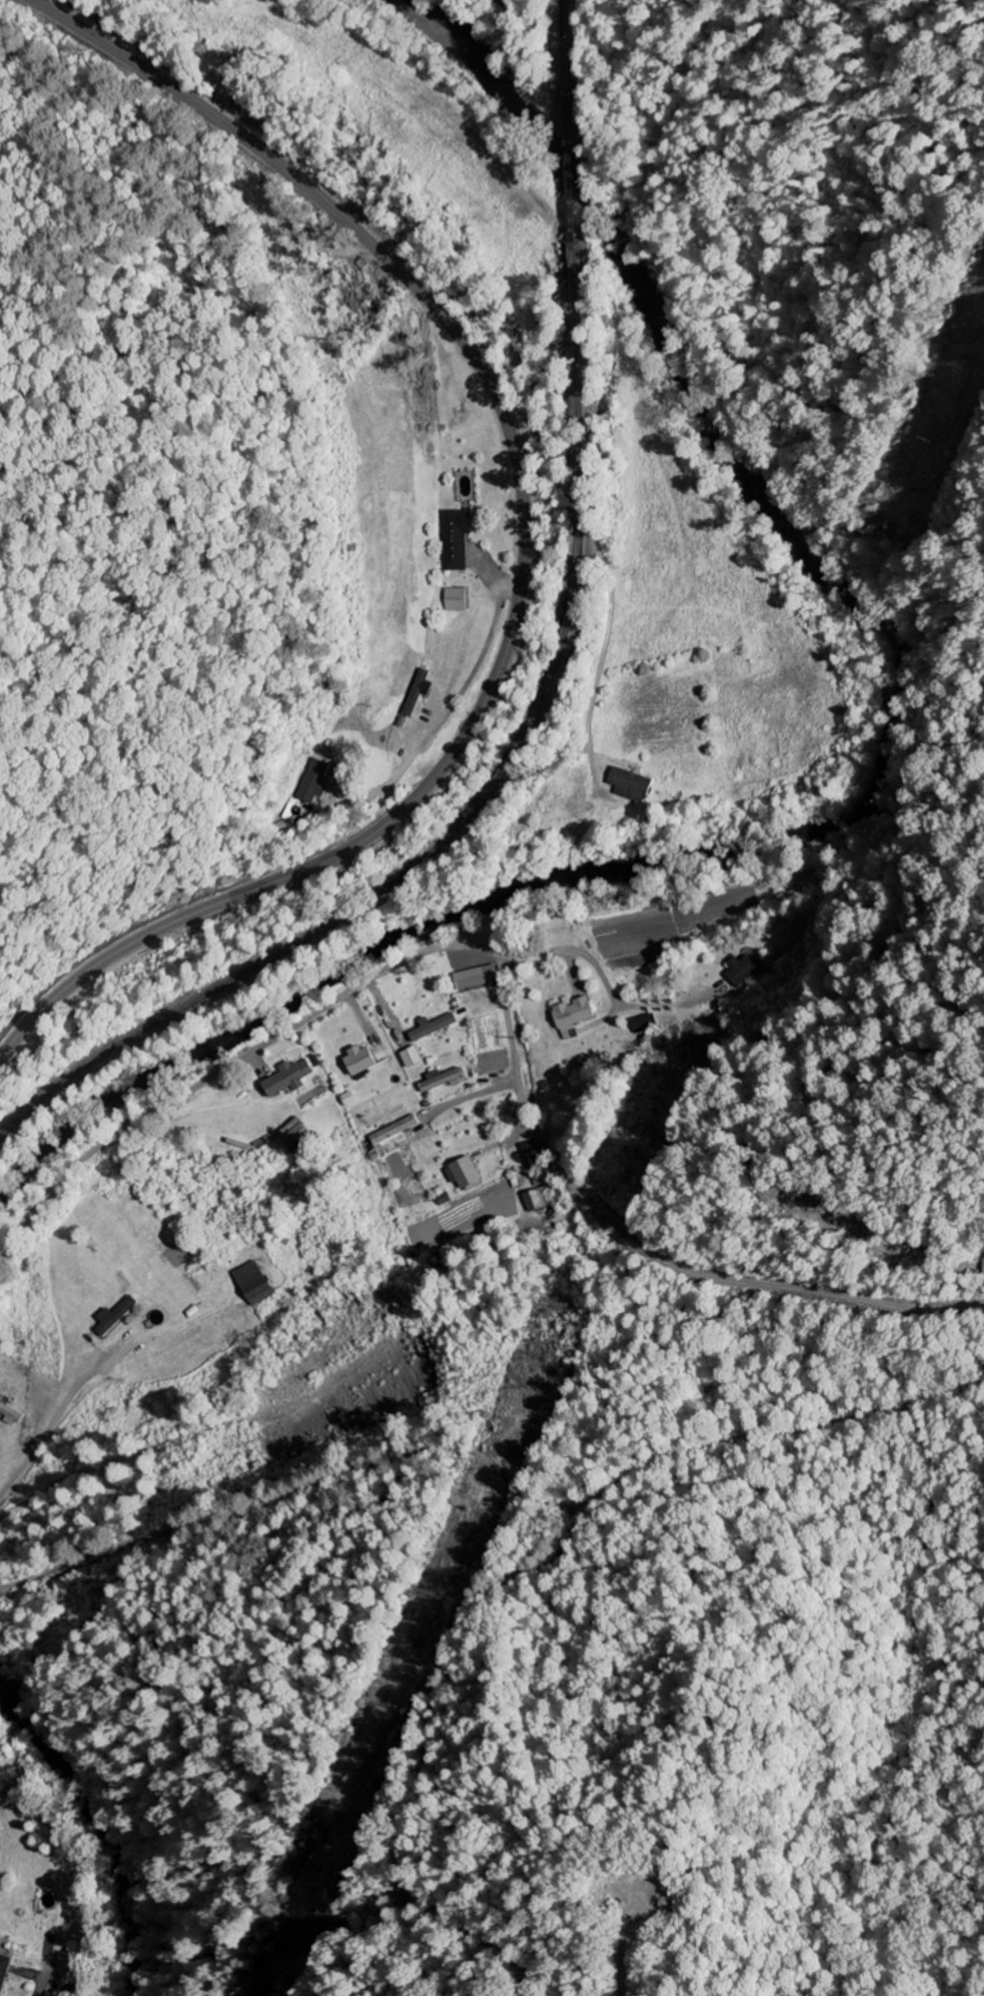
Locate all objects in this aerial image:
building: (456, 540)
road: (520, 547)
building: (456, 601)
building: (420, 693)
railway: (544, 709)
building: (316, 783)
building: (632, 786)
building: (743, 971)
building: (478, 978)
building: (575, 1017)
building: (643, 1024)
building: (435, 1027)
road: (262, 1049)
building: (413, 1058)
building: (363, 1061)
building: (290, 1078)
building: (443, 1080)
building: (396, 1131)
building: (296, 1133)
building: (531, 1153)
building: (466, 1174)
building: (537, 1201)
building: (983, 1258)
building: (256, 1284)
building: (116, 1317)
building: (11, 1415)
building: (4, 1973)

